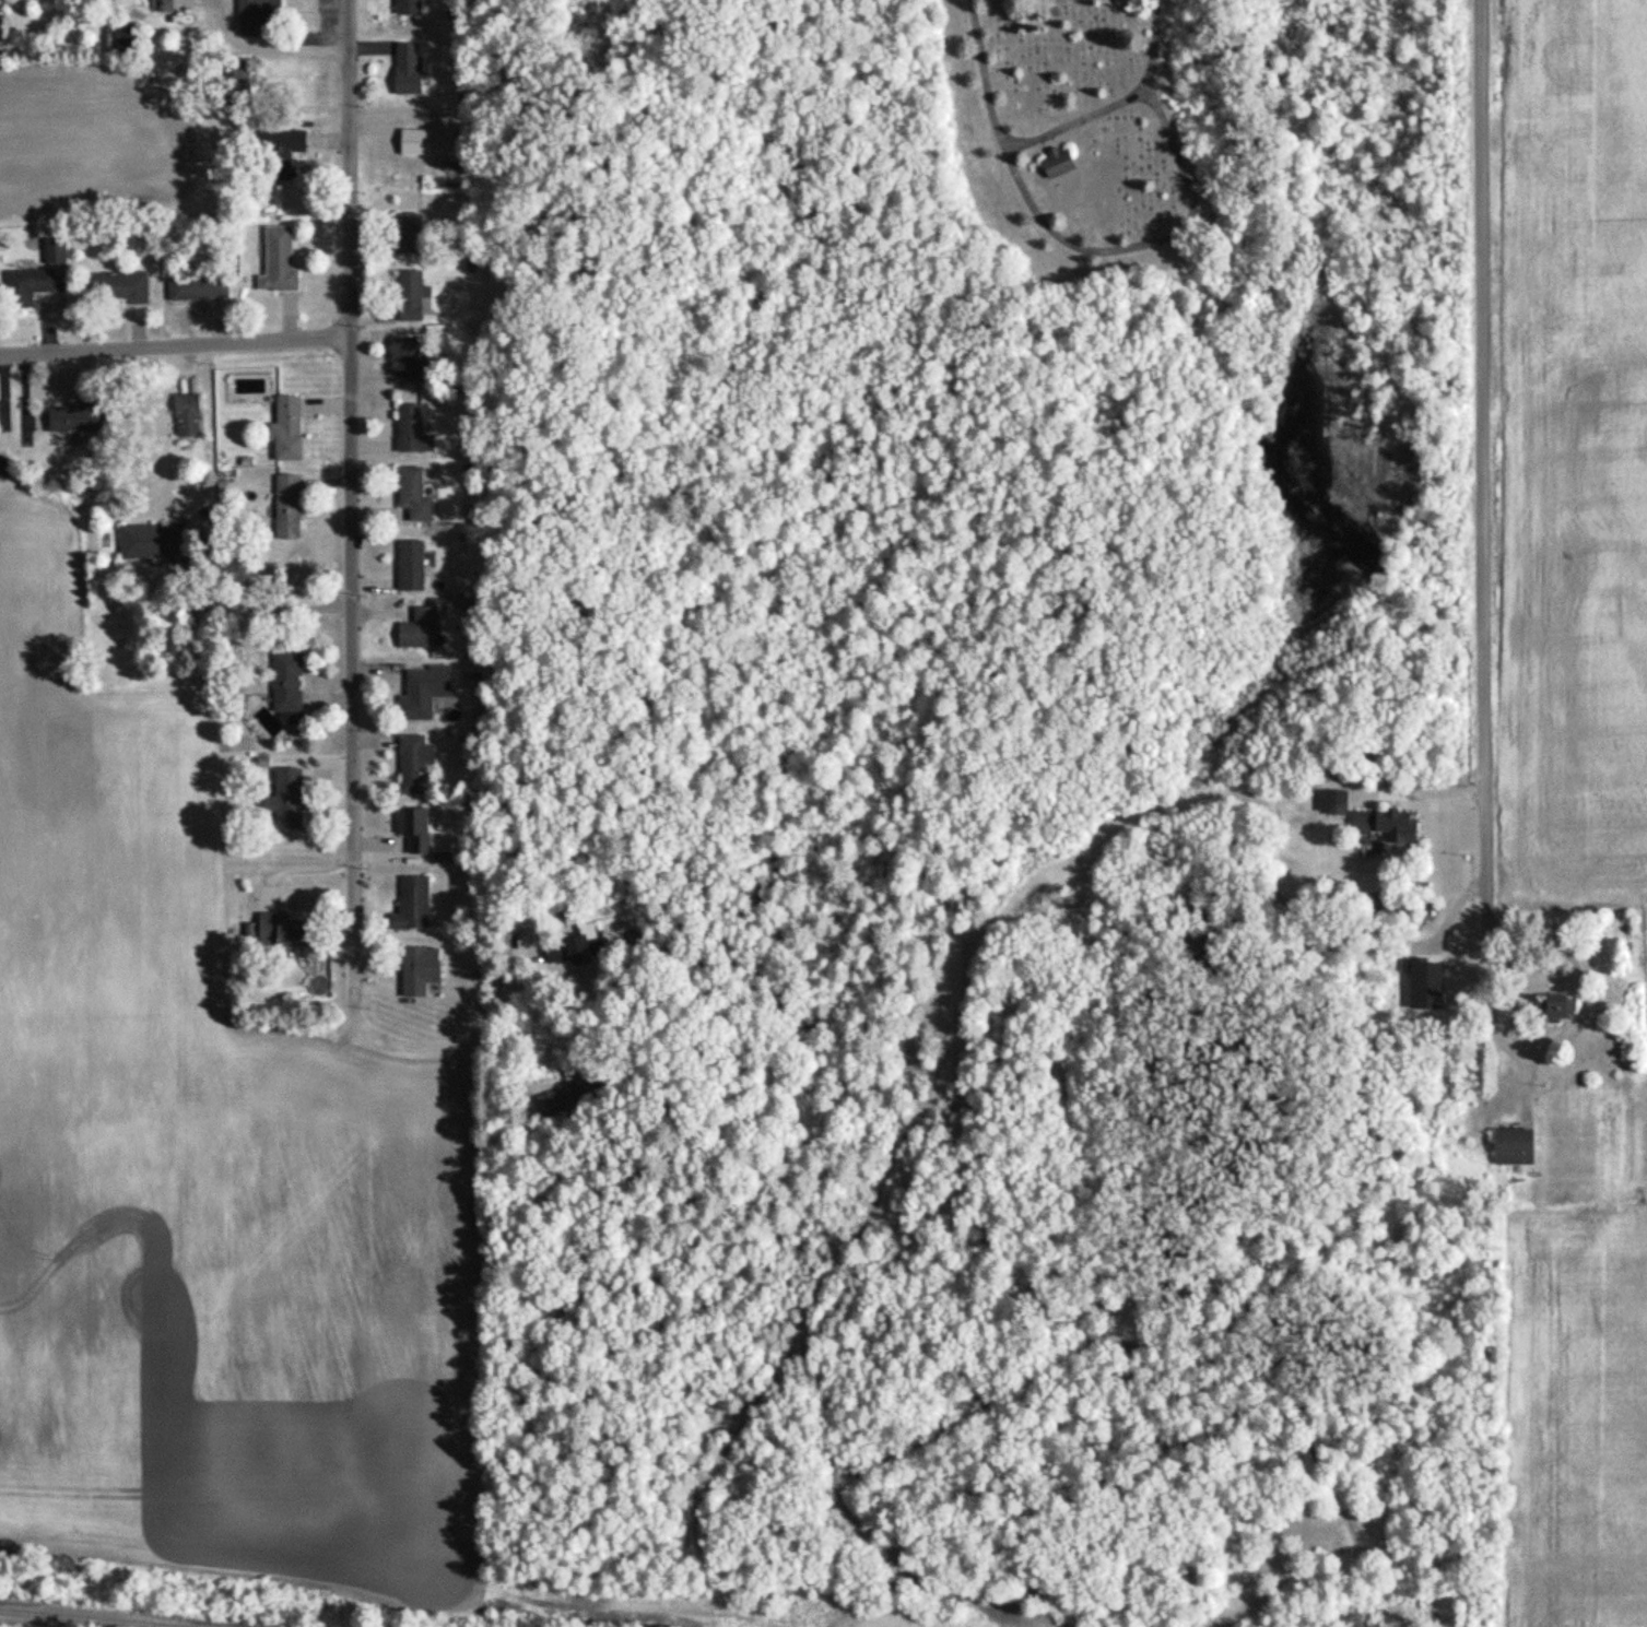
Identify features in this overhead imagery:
building: (157, 5)
building: (404, 8)
building: (249, 16)
road: (306, 51)
building: (402, 69)
building: (228, 75)
building: (409, 141)
park: (1082, 141)
road: (1009, 145)
building: (275, 151)
building: (1055, 163)
road: (1183, 228)
building: (403, 233)
building: (49, 245)
building: (275, 262)
building: (24, 287)
building: (111, 288)
building: (193, 288)
building: (407, 296)
road: (176, 345)
building: (407, 357)
building: (184, 416)
building: (63, 420)
building: (282, 429)
building: (407, 431)
road: (1483, 468)
building: (1, 469)
building: (409, 495)
building: (283, 507)
building: (139, 543)
building: (407, 567)
road: (286, 608)
building: (415, 630)
road: (353, 632)
building: (282, 683)
building: (419, 693)
building: (412, 766)
building: (281, 799)
building: (1333, 805)
building: (1385, 825)
building: (410, 829)
road: (289, 866)
building: (408, 905)
building: (277, 931)
building: (565, 948)
building: (414, 970)
building: (1553, 1007)
building: (557, 1098)
building: (1508, 1147)
railway: (79, 1619)

